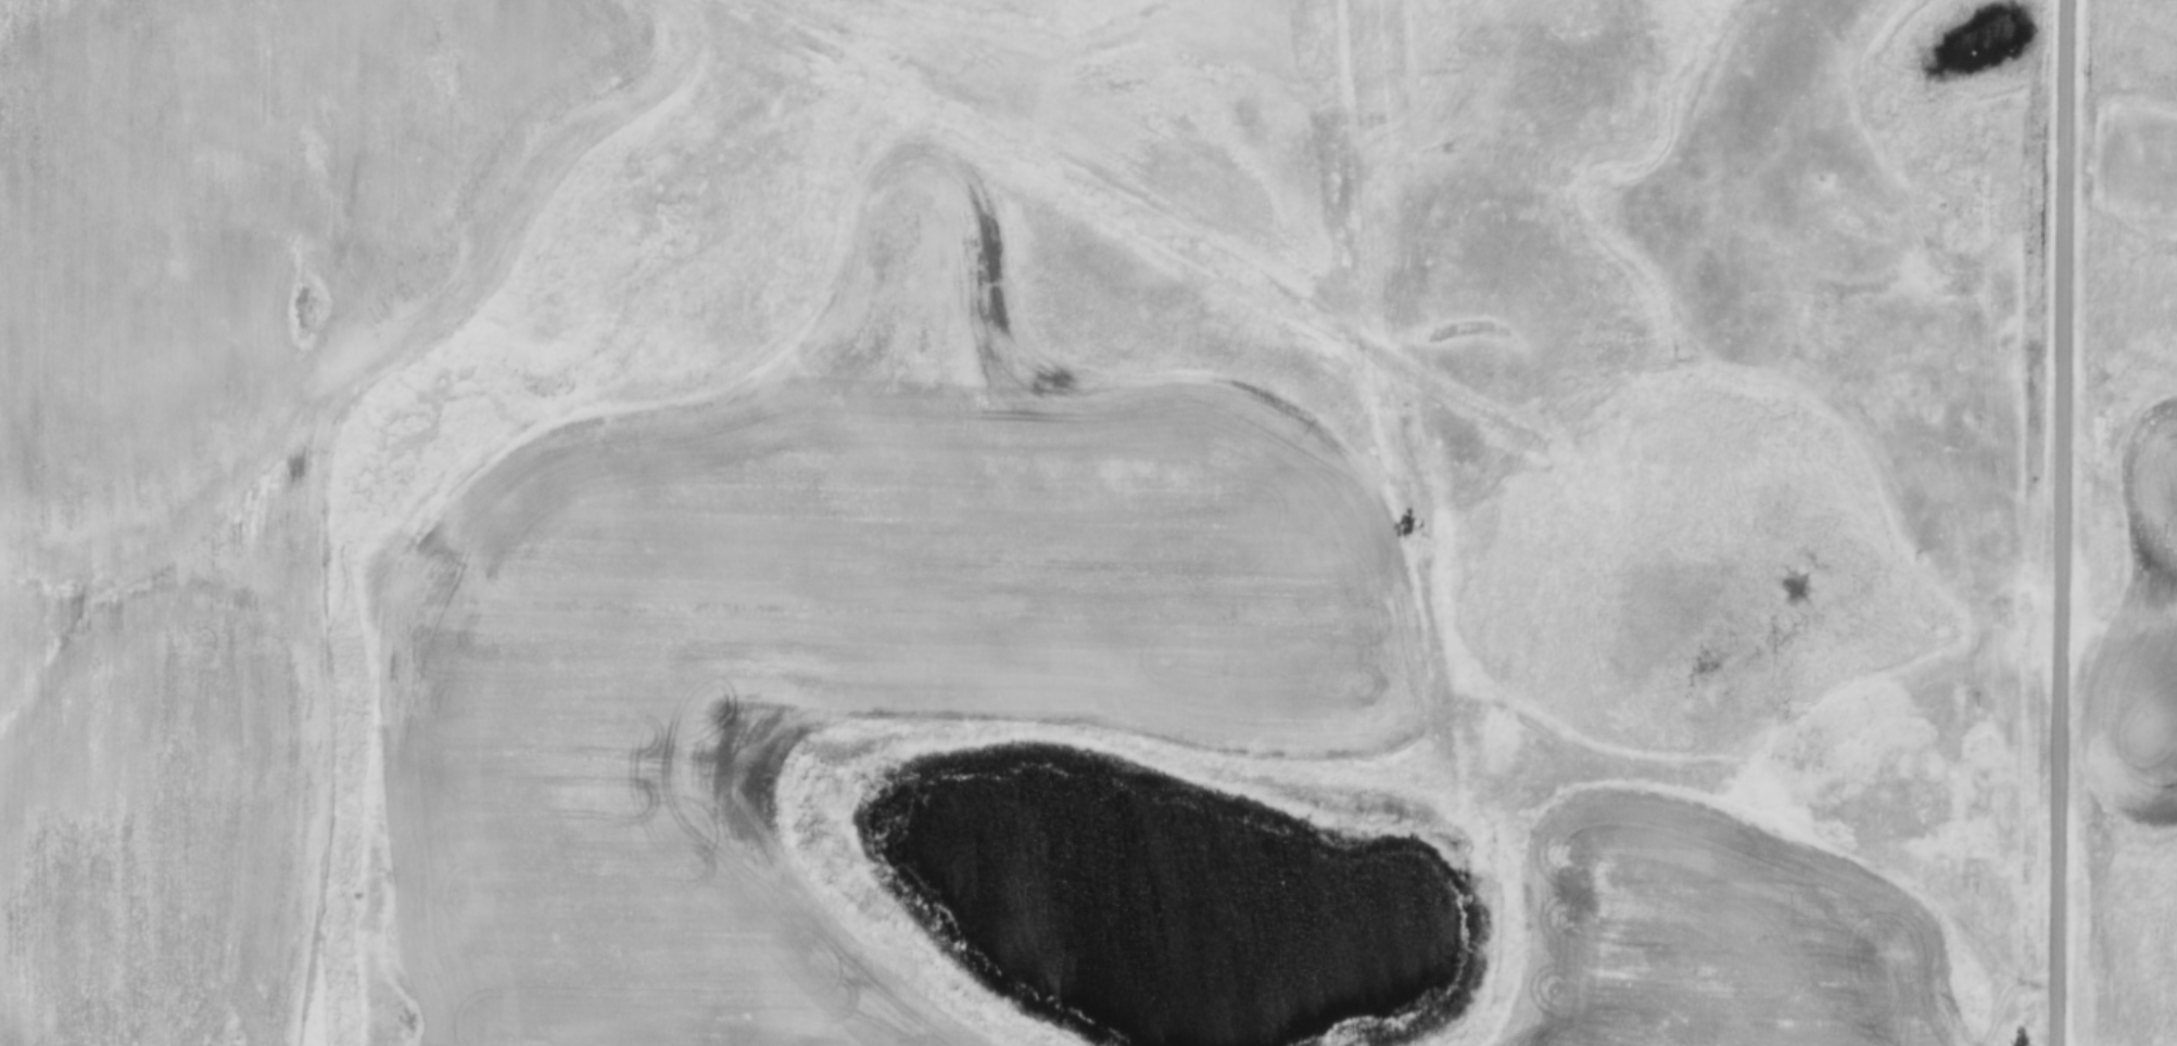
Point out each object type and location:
road: (2063, 523)

